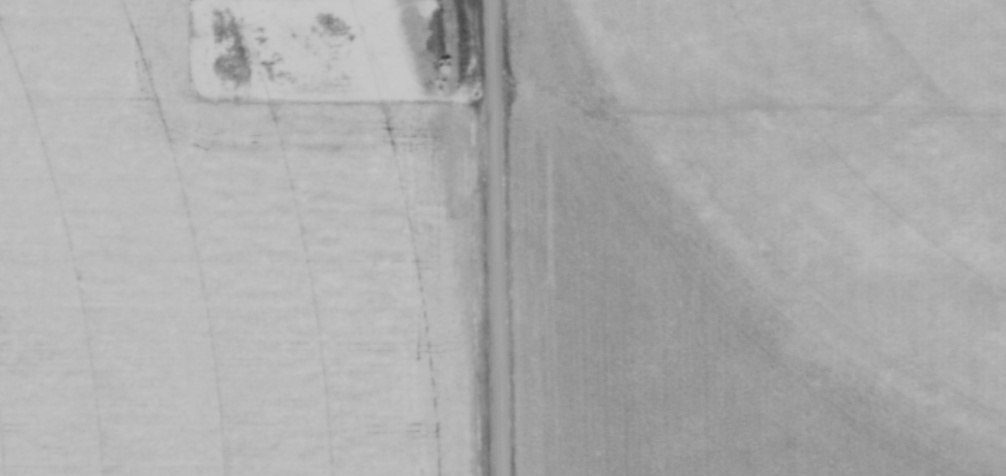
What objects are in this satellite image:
crop: (826, 184)
road: (494, 237)
crop: (236, 238)

